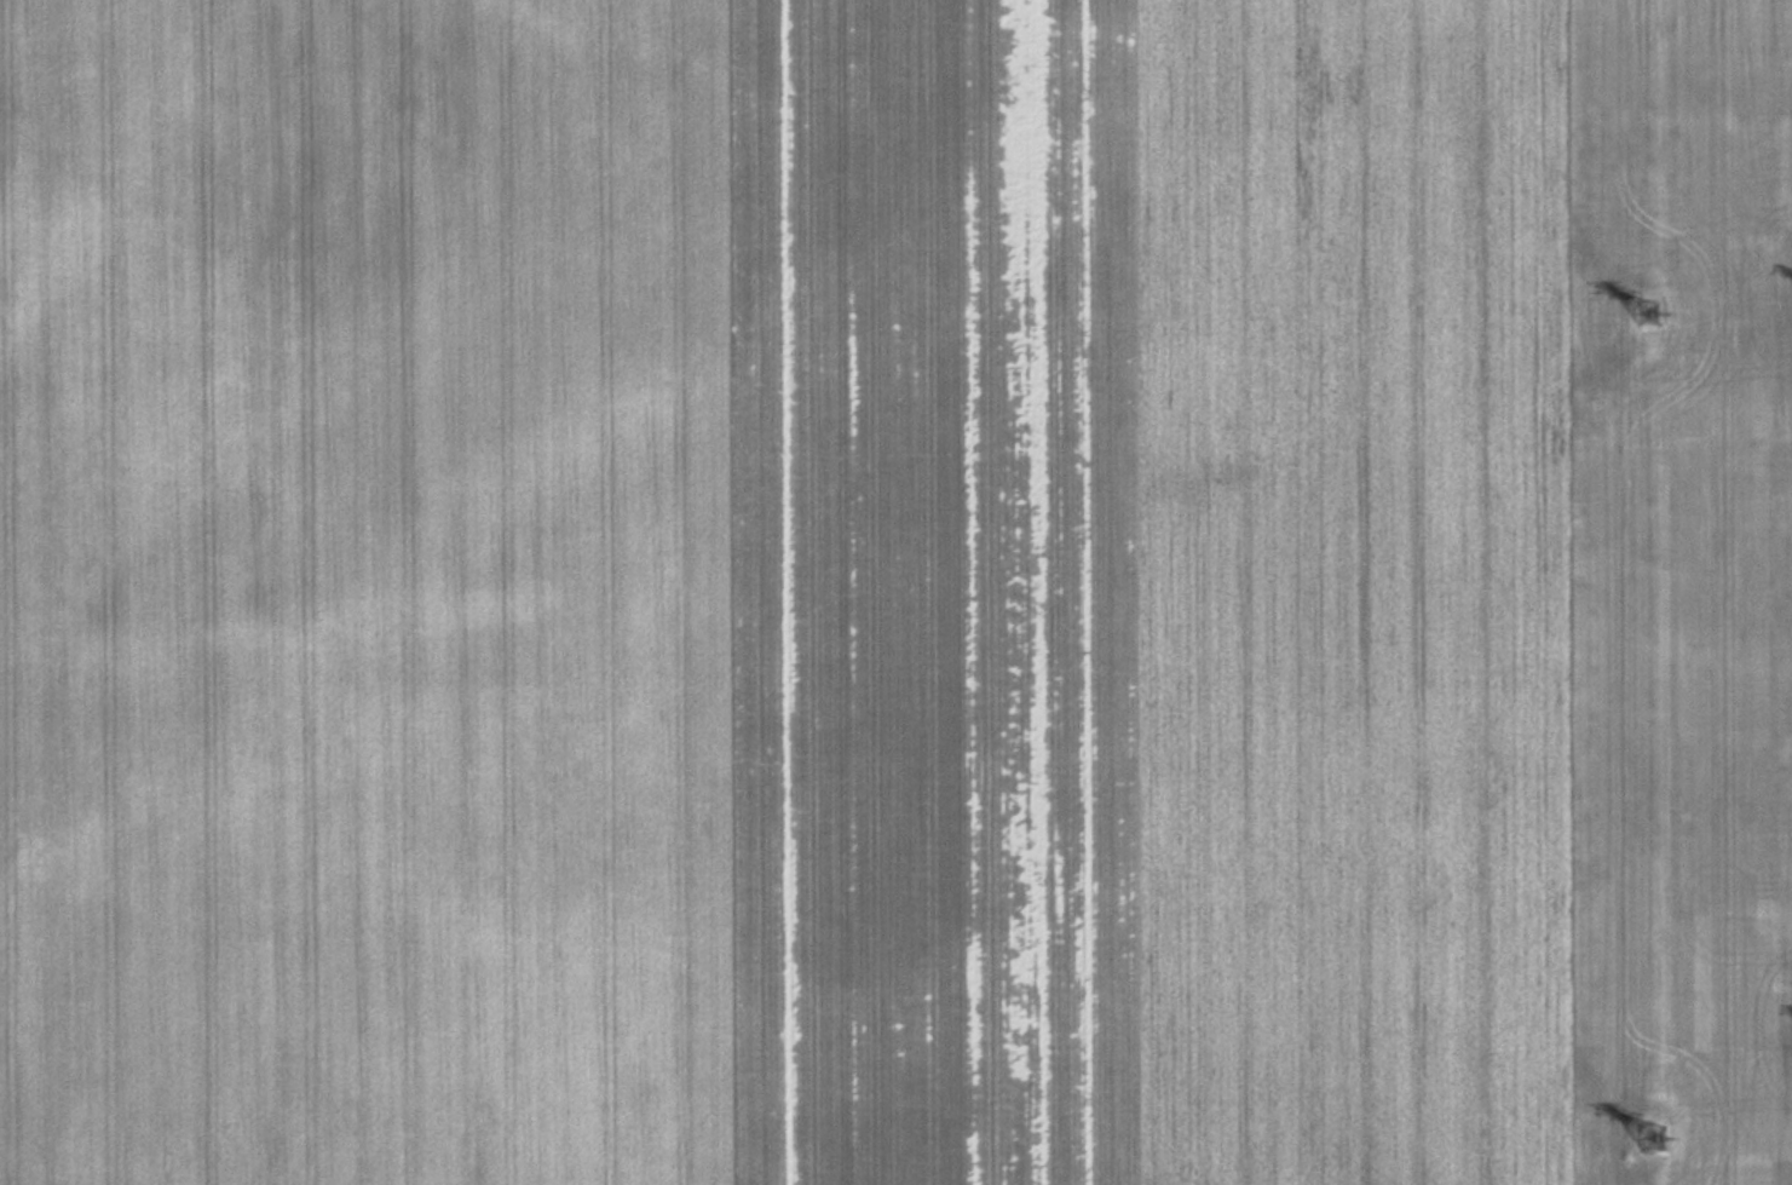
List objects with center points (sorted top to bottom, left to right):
power tower: (1641, 312)
power tower: (1648, 1134)

